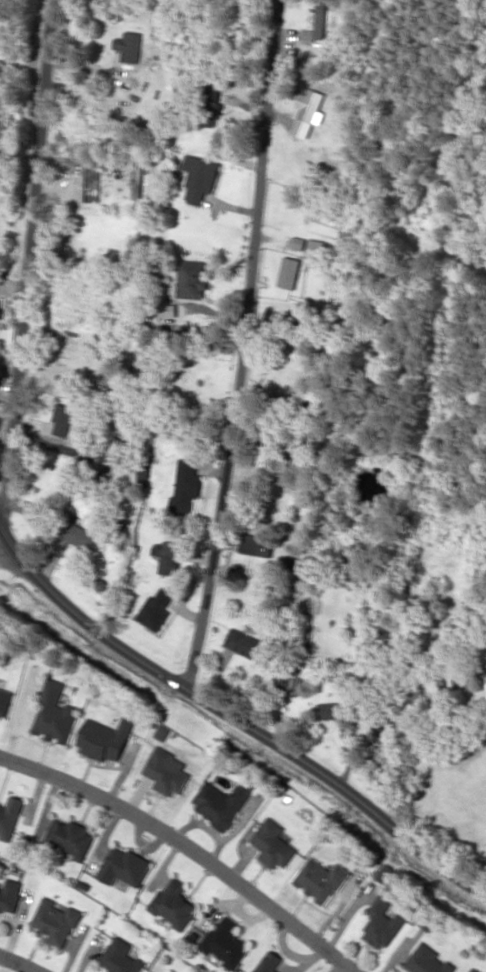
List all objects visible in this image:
building: (317, 22)
building: (129, 45)
building: (310, 104)
building: (209, 107)
building: (199, 177)
building: (315, 247)
road: (27, 264)
building: (289, 272)
building: (192, 278)
building: (0, 307)
road: (241, 346)
building: (61, 419)
building: (108, 459)
building: (186, 485)
building: (78, 533)
building: (255, 544)
building: (166, 555)
building: (155, 609)
building: (244, 643)
building: (484, 678)
building: (292, 685)
building: (4, 700)
building: (328, 710)
building: (54, 714)
road: (233, 716)
building: (161, 731)
building: (104, 738)
building: (166, 771)
building: (220, 803)
building: (9, 817)
building: (69, 837)
building: (272, 843)
road: (188, 847)
building: (124, 866)
building: (384, 872)
building: (320, 879)
building: (9, 895)
building: (174, 903)
building: (56, 920)
building: (382, 922)
building: (225, 941)
building: (121, 957)
road: (22, 961)
building: (427, 961)
building: (269, 962)
building: (474, 970)

